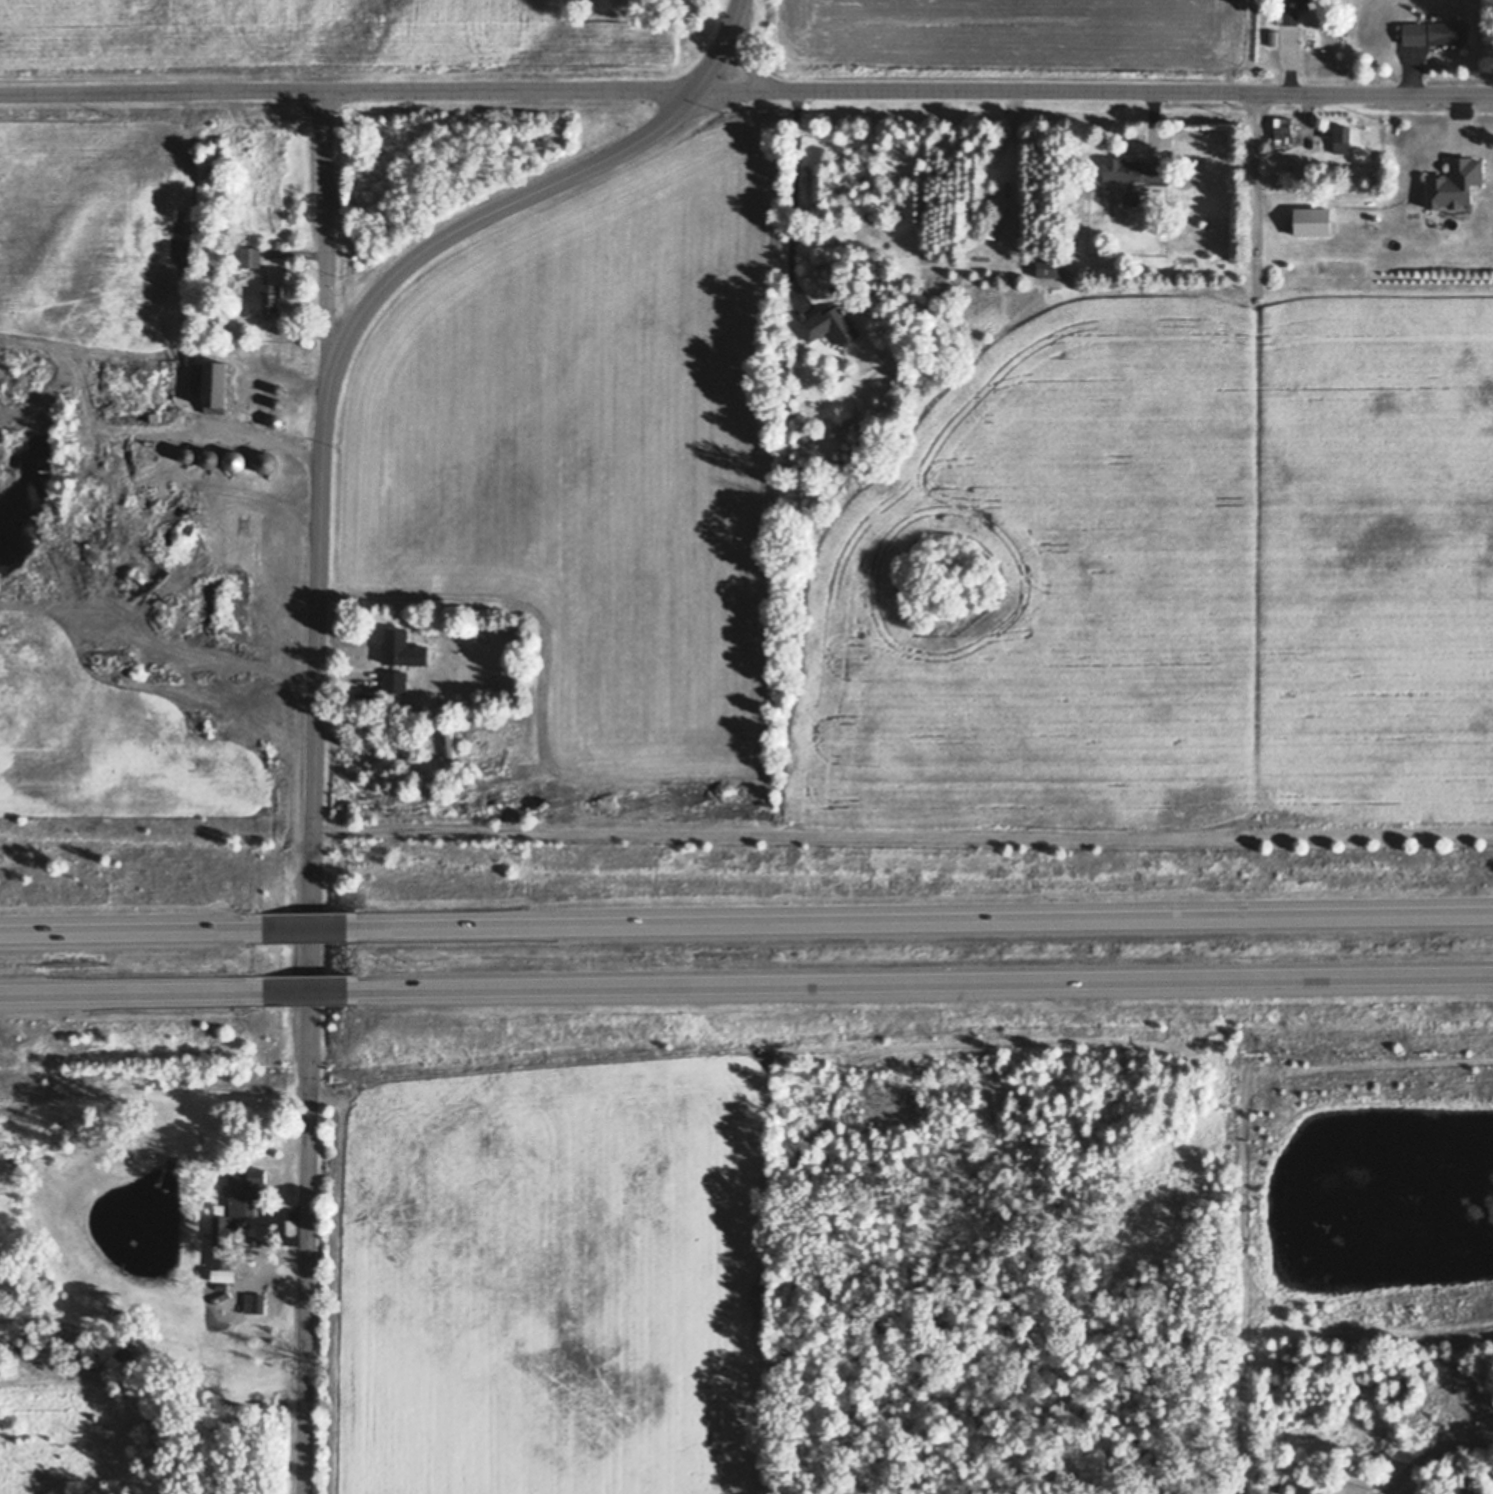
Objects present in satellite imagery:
building: (1299, 0)
building: (1291, 16)
building: (1435, 33)
building: (1272, 37)
road: (748, 57)
road: (387, 92)
road: (1134, 93)
building: (1283, 132)
building: (1342, 140)
building: (1133, 170)
road: (1012, 171)
building: (1454, 182)
road: (787, 195)
building: (1131, 197)
road: (1255, 206)
road: (326, 228)
road: (299, 256)
building: (251, 257)
building: (849, 267)
building: (1051, 267)
building: (893, 277)
building: (273, 299)
building: (213, 308)
building: (829, 325)
road: (300, 331)
building: (276, 387)
building: (216, 388)
building: (276, 403)
building: (155, 417)
building: (275, 420)
building: (127, 438)
building: (208, 456)
building: (234, 460)
building: (265, 462)
road: (196, 464)
building: (243, 526)
road: (318, 646)
building: (402, 649)
building: (395, 680)
building: (413, 709)
building: (450, 746)
road: (903, 837)
road: (926, 922)
road: (314, 930)
road: (134, 933)
road: (927, 980)
road: (315, 989)
road: (134, 992)
building: (171, 1162)
building: (161, 1178)
building: (243, 1191)
building: (225, 1240)
building: (121, 1268)
building: (138, 1371)
building: (140, 1378)
building: (171, 1383)
road: (1434, 1455)
building: (1462, 1480)

